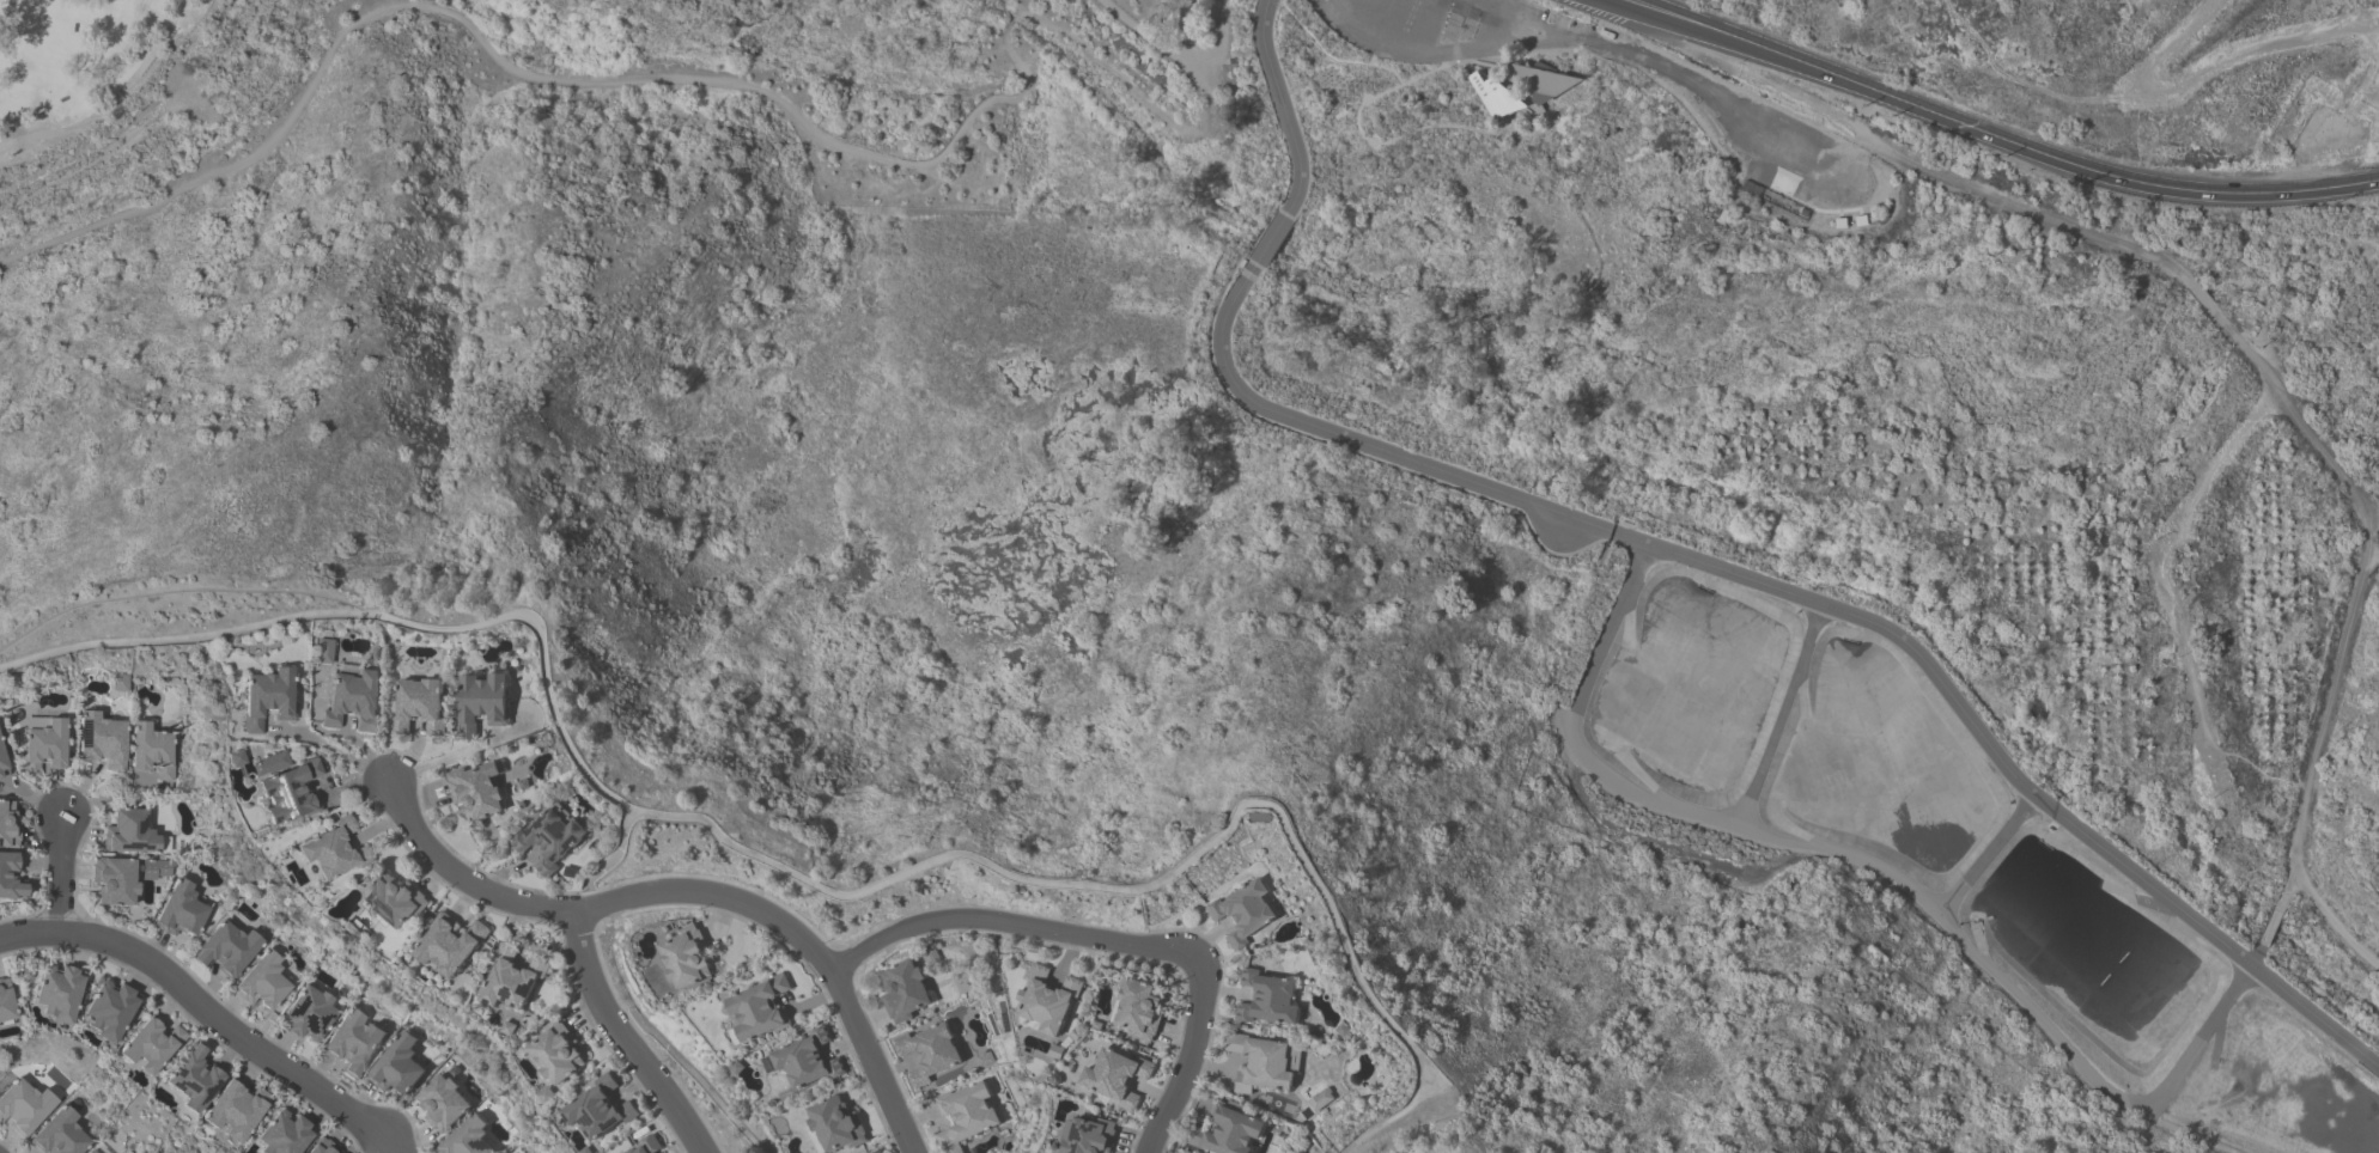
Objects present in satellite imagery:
road: (1279, 4)
road: (1343, 6)
road: (1521, 18)
road: (1389, 19)
road: (1429, 25)
parking lot: (1454, 30)
road: (1151, 36)
road: (1192, 36)
road: (1599, 43)
road: (1371, 50)
road: (1334, 59)
road: (1513, 62)
road: (1424, 73)
building: (1483, 74)
road: (711, 77)
building: (1545, 80)
road: (1520, 87)
building: (1495, 96)
road: (112, 102)
road: (1280, 105)
road: (1532, 120)
road: (1437, 126)
road: (1998, 139)
road: (1873, 189)
road: (1875, 225)
road: (1270, 239)
road: (2198, 294)
park: (900, 295)
road: (2372, 516)
road: (2365, 572)
road: (2174, 599)
road: (1808, 602)
building: (324, 651)
building: (268, 698)
building: (352, 701)
building: (483, 704)
building: (419, 707)
building: (102, 740)
building: (43, 744)
building: (152, 750)
road: (337, 752)
road: (460, 755)
building: (2, 763)
building: (270, 764)
building: (477, 791)
building: (291, 793)
building: (8, 826)
building: (129, 832)
building: (552, 838)
building: (334, 850)
road: (612, 864)
building: (156, 868)
road: (60, 877)
building: (11, 878)
road: (802, 880)
building: (115, 881)
road: (693, 893)
building: (395, 901)
building: (180, 910)
building: (1245, 913)
road: (1015, 923)
road: (2334, 928)
building: (450, 945)
building: (227, 948)
building: (687, 958)
building: (513, 980)
building: (262, 982)
building: (905, 992)
building: (59, 994)
building: (1267, 1000)
building: (1047, 1001)
building: (6, 1003)
building: (761, 1009)
building: (1140, 1009)
building: (110, 1011)
road: (205, 1013)
building: (308, 1014)
road: (620, 1039)
building: (354, 1043)
building: (152, 1045)
building: (930, 1053)
building: (559, 1054)
building: (805, 1060)
road: (1186, 1063)
building: (398, 1066)
building: (1265, 1066)
road: (696, 1078)
building: (1117, 1078)
building: (195, 1079)
building: (1320, 1102)
building: (443, 1103)
building: (24, 1105)
building: (236, 1110)
building: (601, 1110)
building: (966, 1116)
building: (835, 1125)
building: (60, 1134)
building: (285, 1134)
building: (1225, 1134)
building: (1088, 1136)
building: (468, 1137)
building: (651, 1145)
building: (323, 1146)
building: (91, 1151)
building: (95, 1151)
building: (878, 1151)

